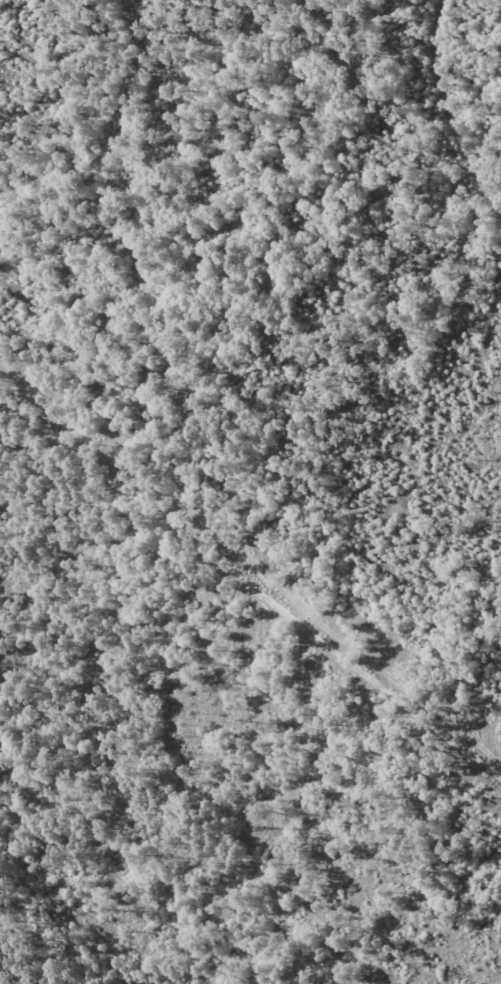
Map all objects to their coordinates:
park: (212, 756)

